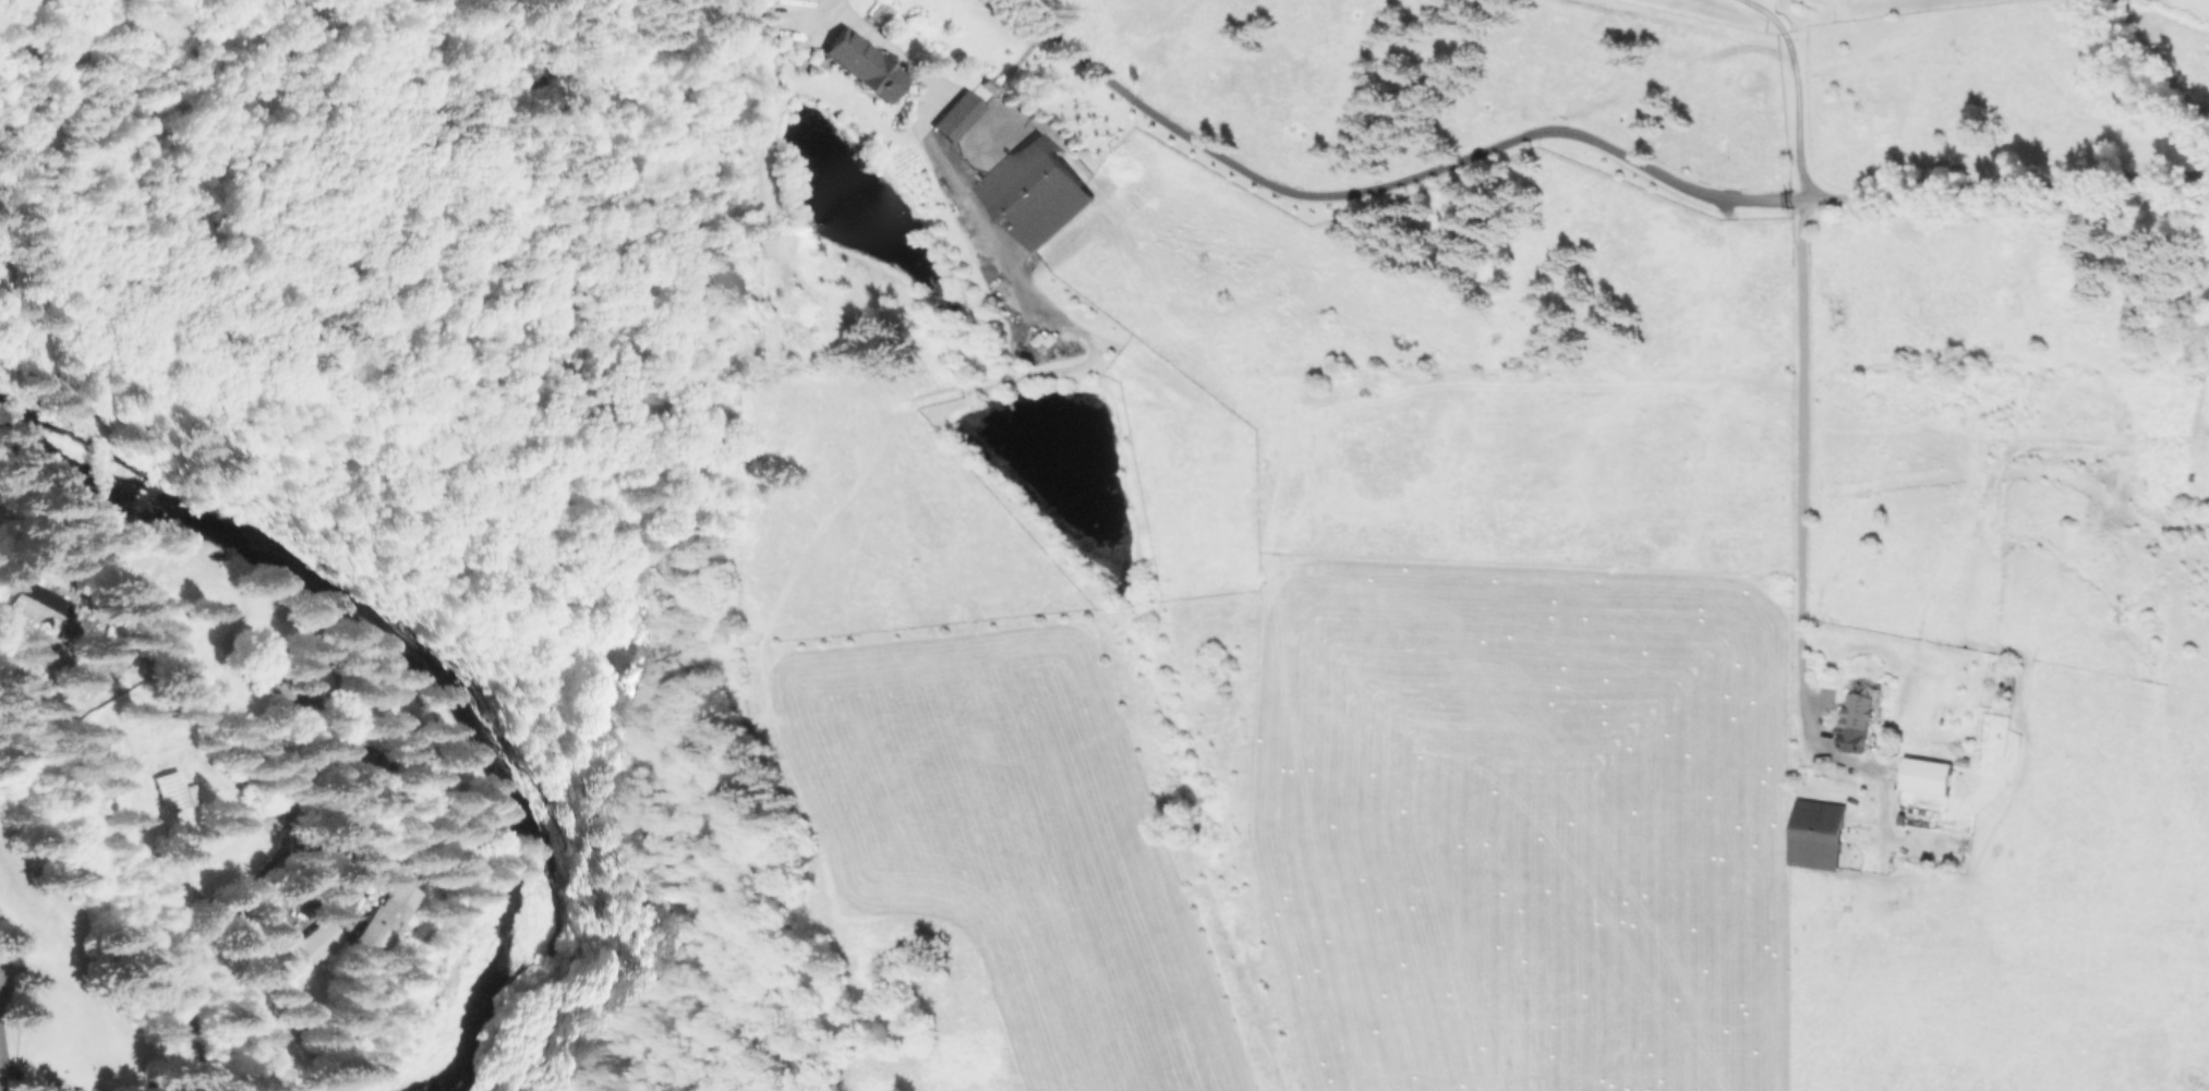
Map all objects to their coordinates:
building: (877, 14)
building: (861, 64)
road: (1789, 88)
building: (955, 111)
road: (1565, 133)
road: (2202, 179)
road: (2185, 180)
building: (1036, 192)
road: (1801, 446)
building: (40, 603)
building: (63, 657)
building: (2008, 680)
building: (1854, 718)
building: (1921, 773)
building: (171, 793)
building: (1816, 827)
building: (381, 917)
building: (319, 942)
road: (2, 1057)

